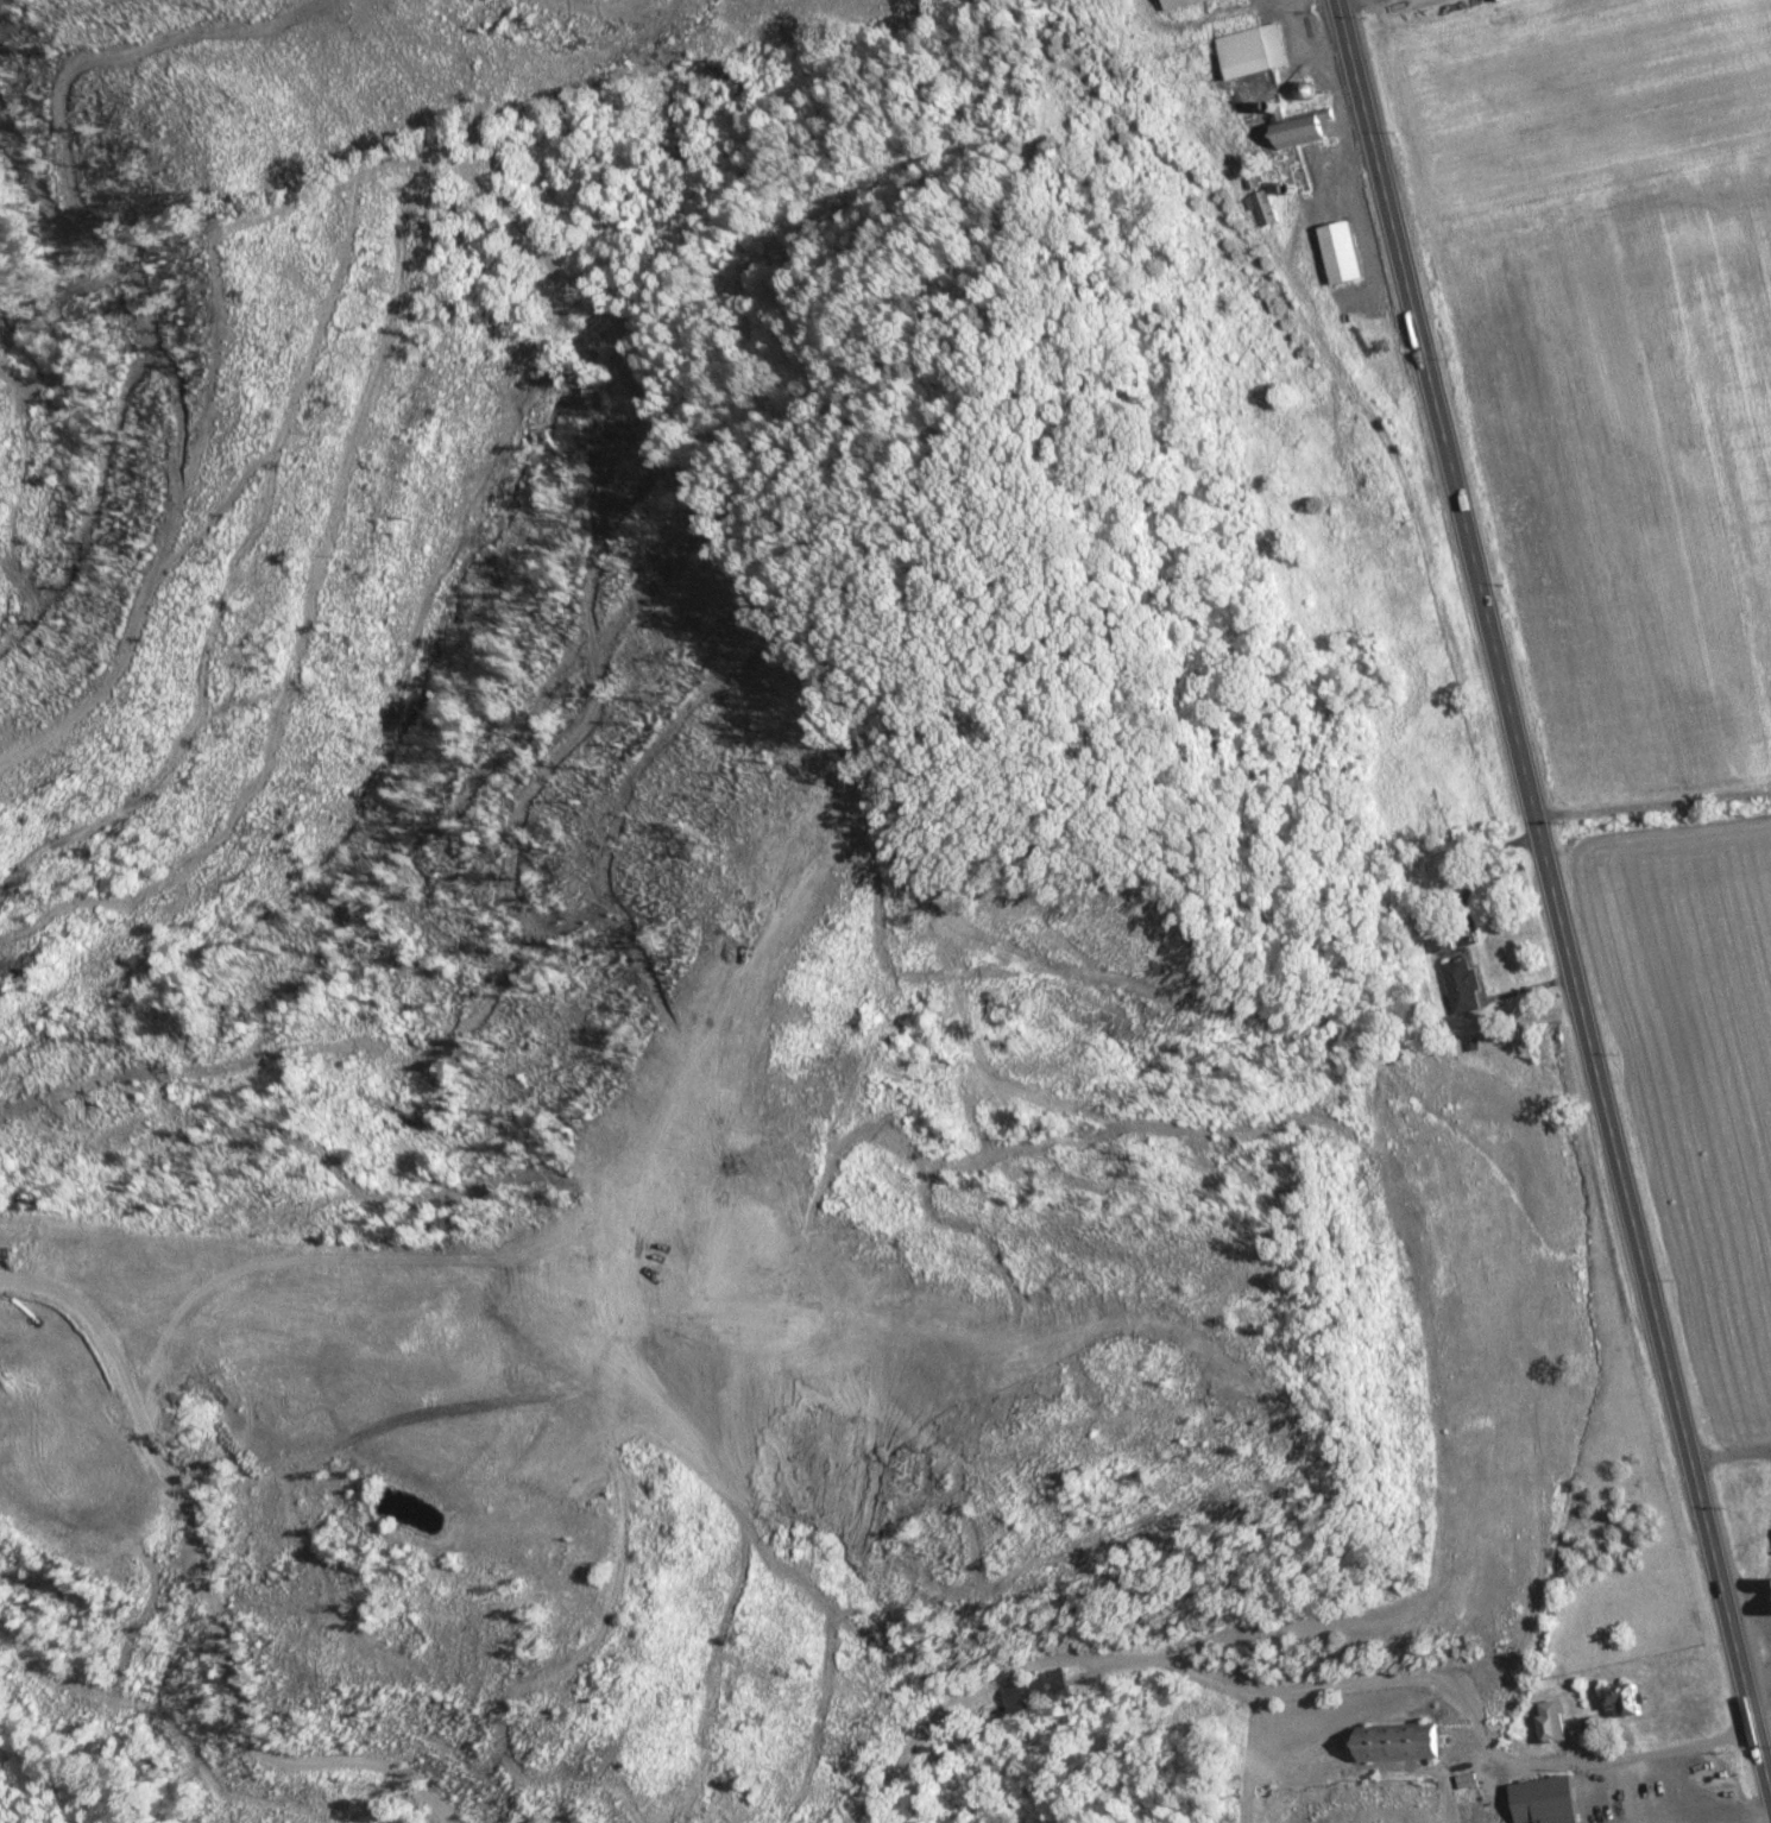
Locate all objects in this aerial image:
building: (1184, 4)
building: (1254, 52)
building: (1305, 131)
building: (1266, 210)
building: (1345, 256)
road: (1653, 809)
road: (1553, 900)
road: (163, 1620)
road: (1288, 1634)
building: (1039, 1691)
building: (1627, 1703)
building: (1553, 1722)
building: (1404, 1743)
building: (1549, 1802)

